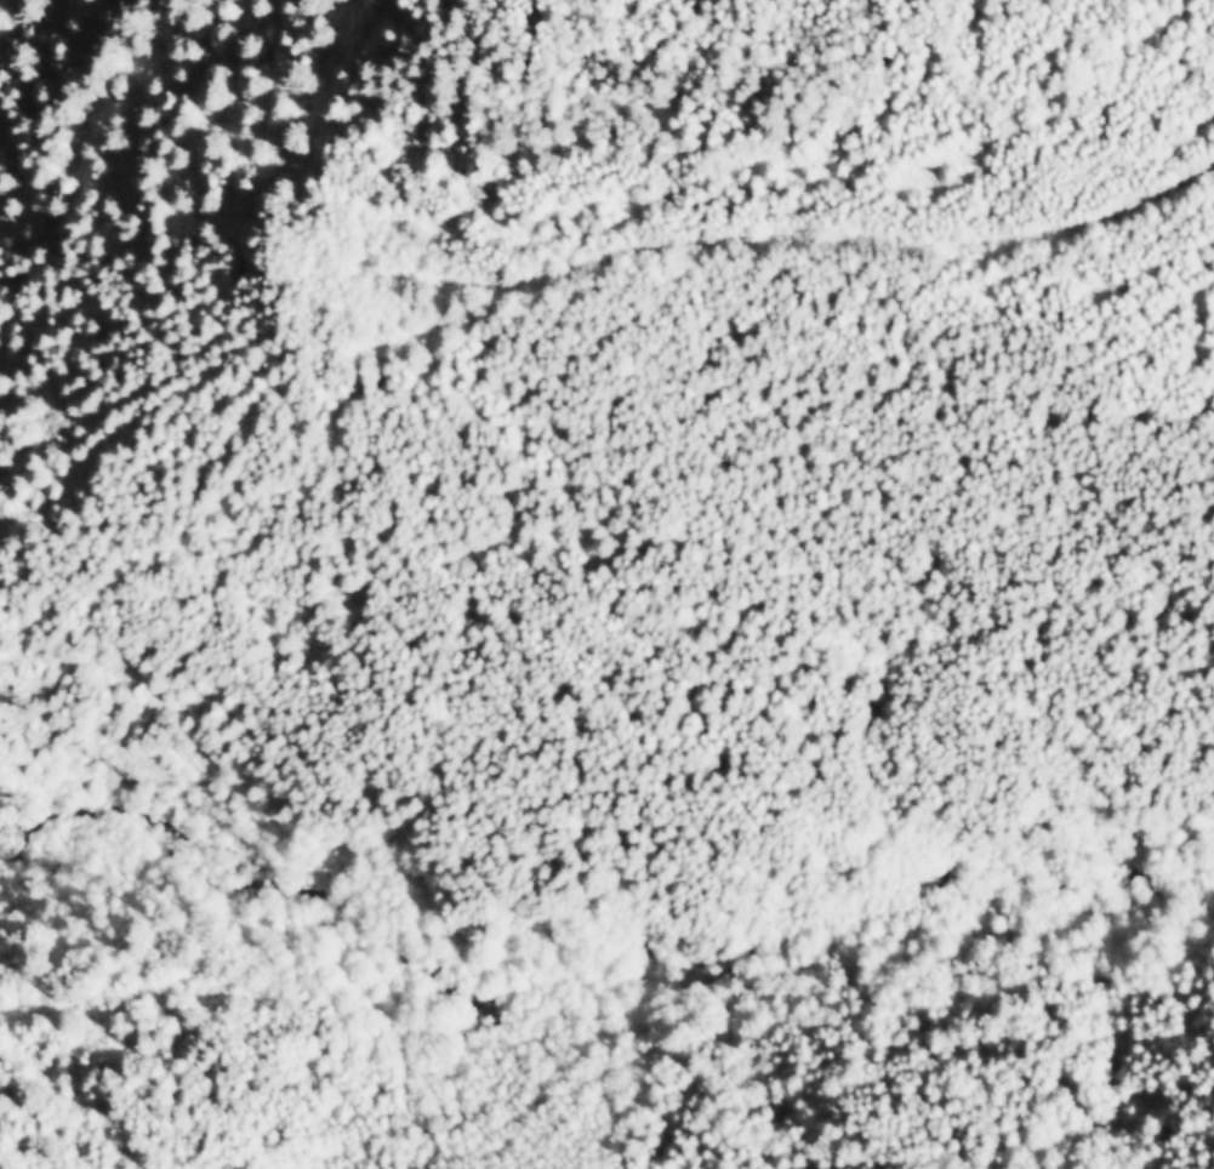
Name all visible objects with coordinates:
road: (798, 235)

